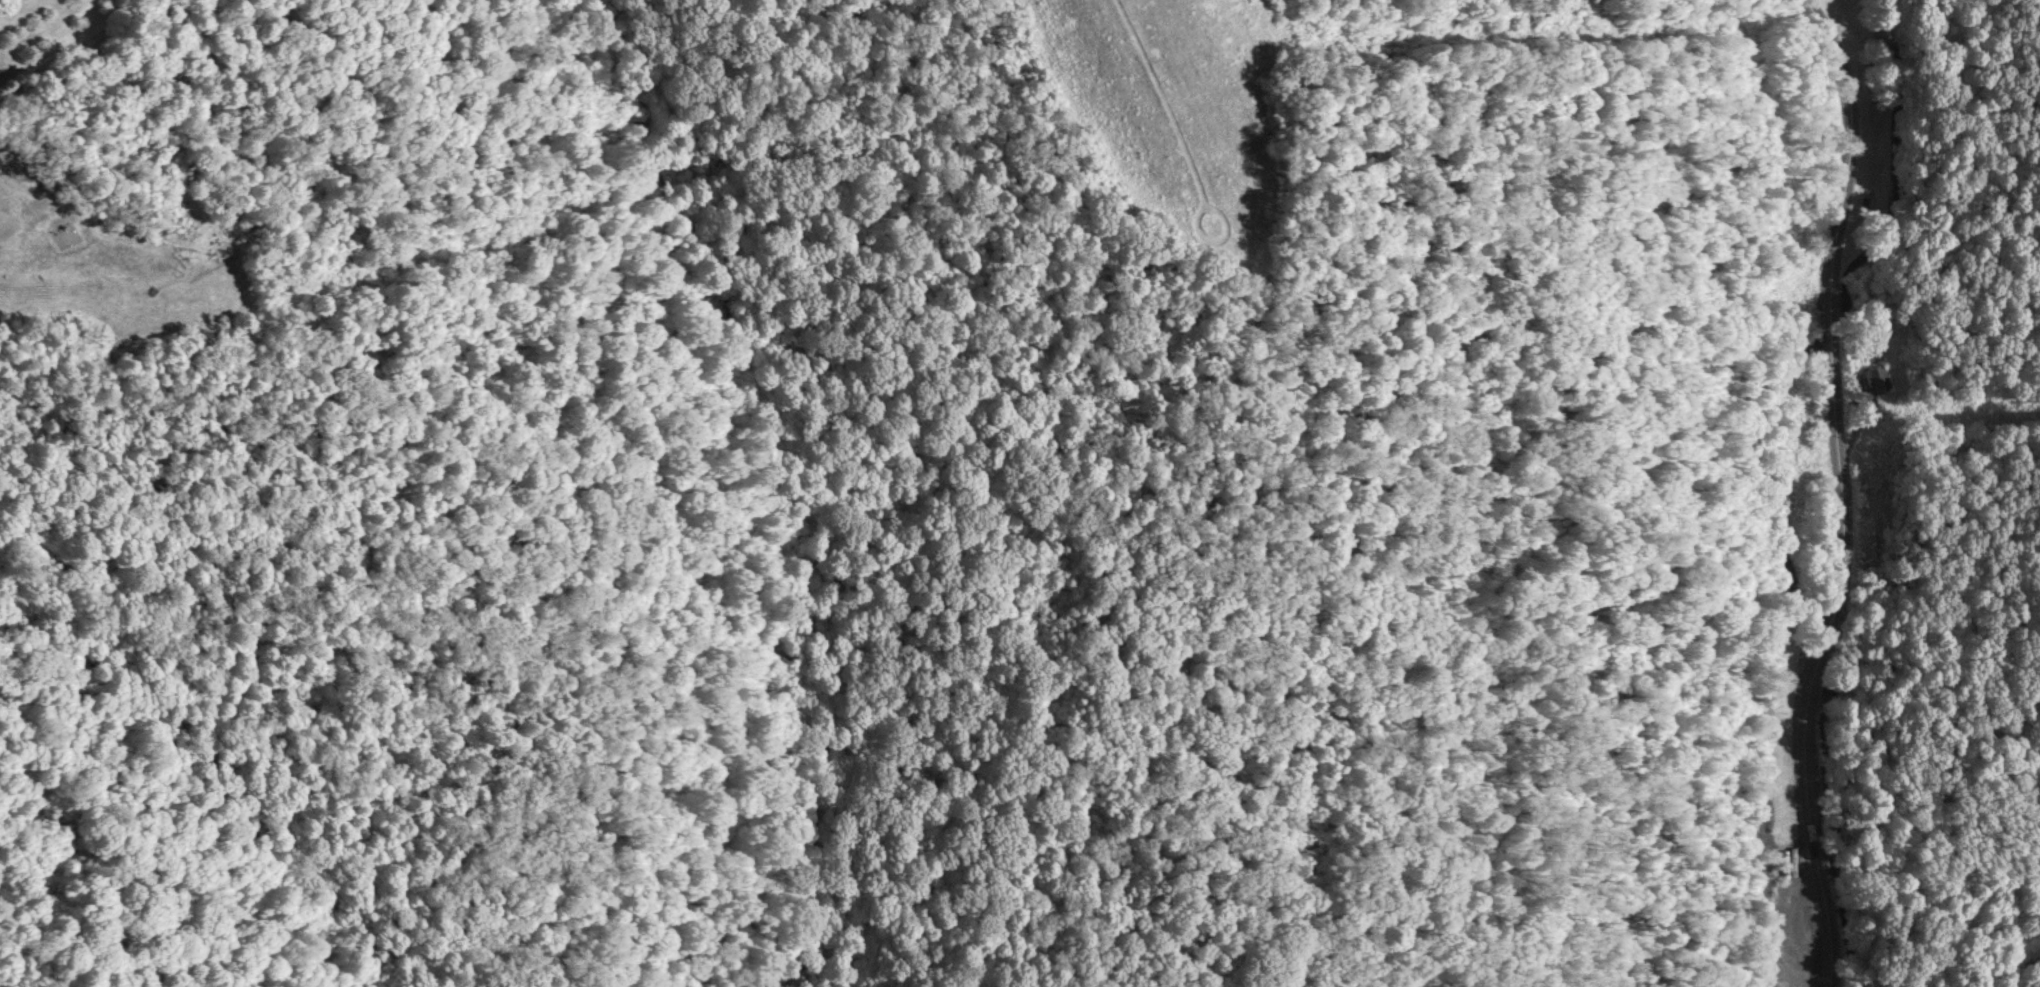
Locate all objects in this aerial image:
building: (1876, 378)
road: (1840, 489)

